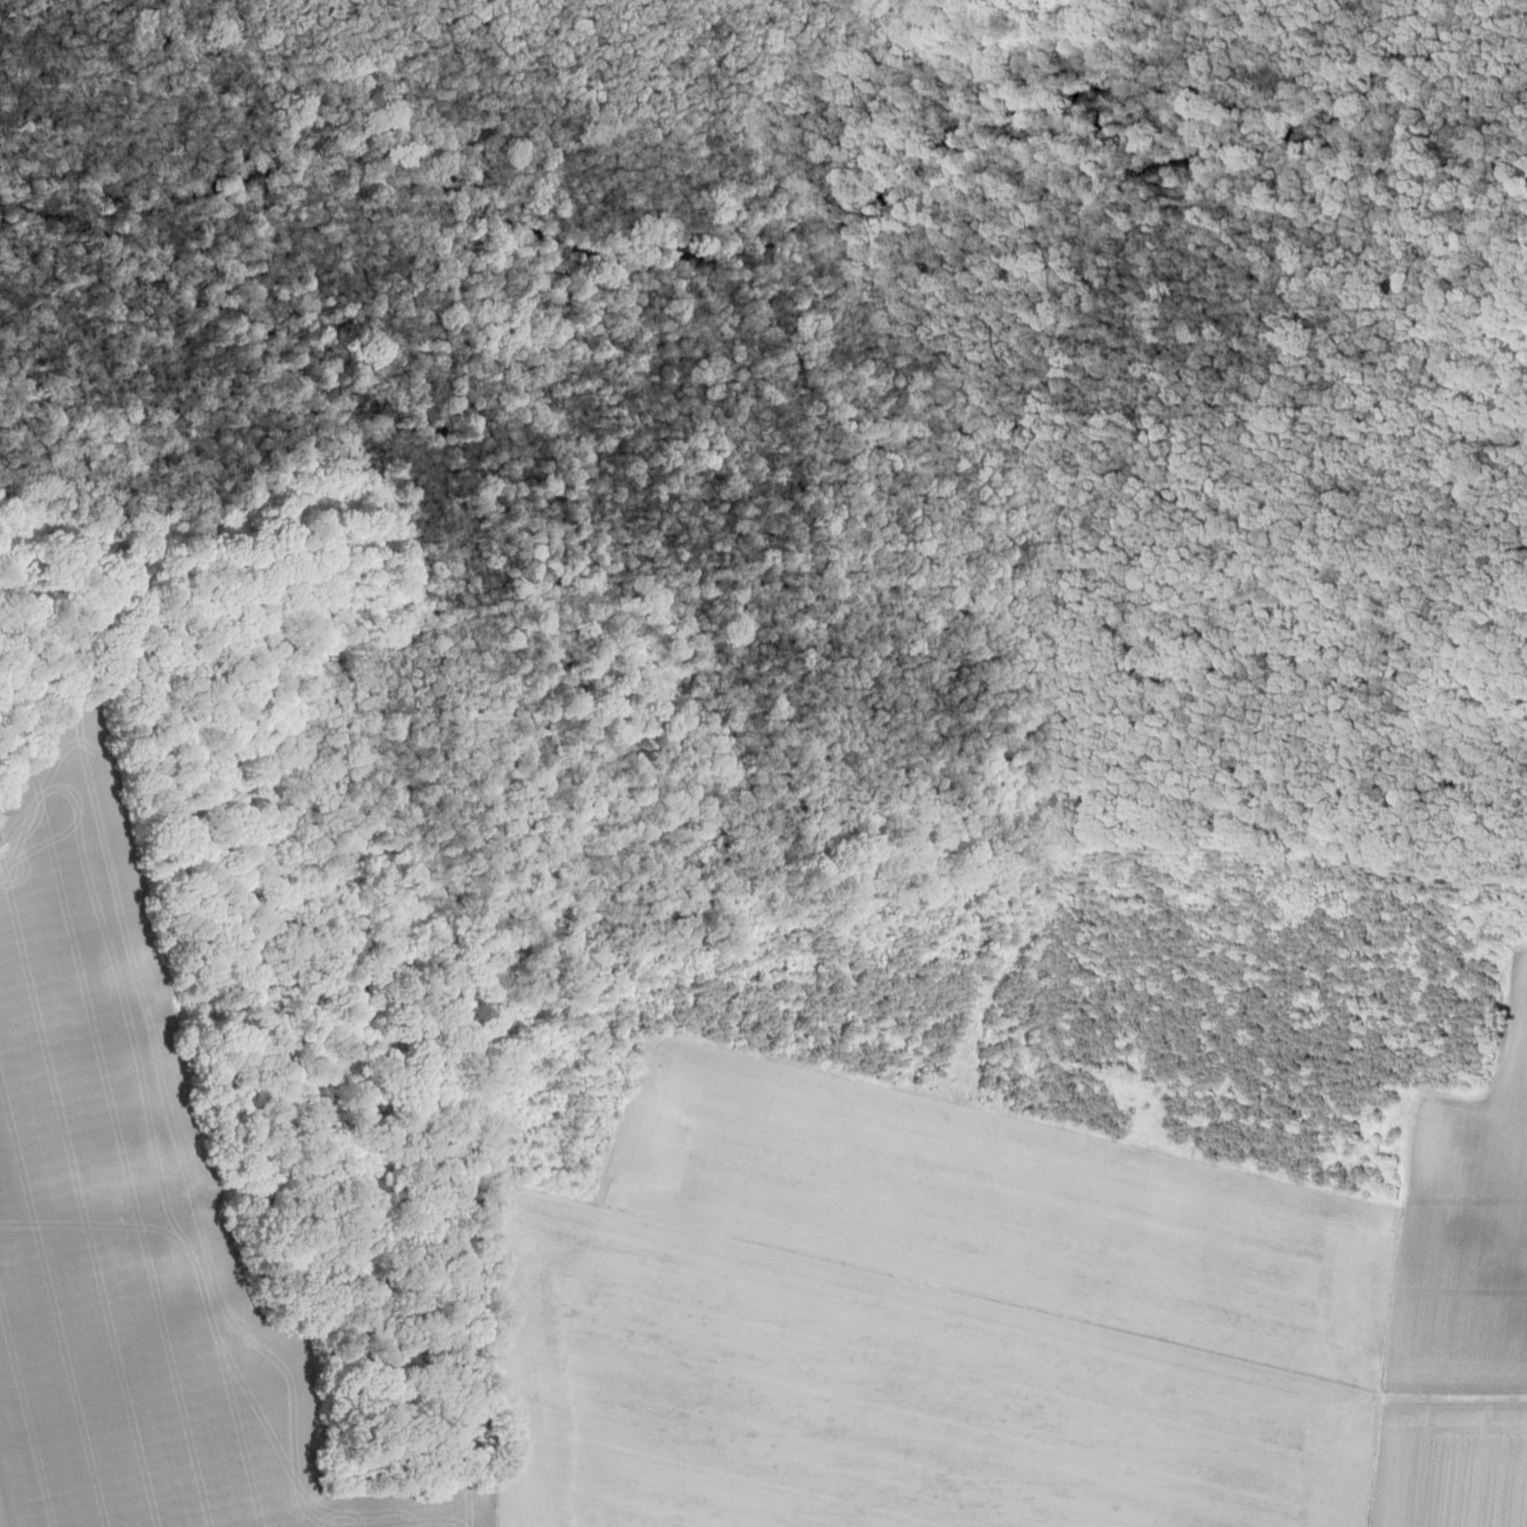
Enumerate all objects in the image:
park: (777, 485)

